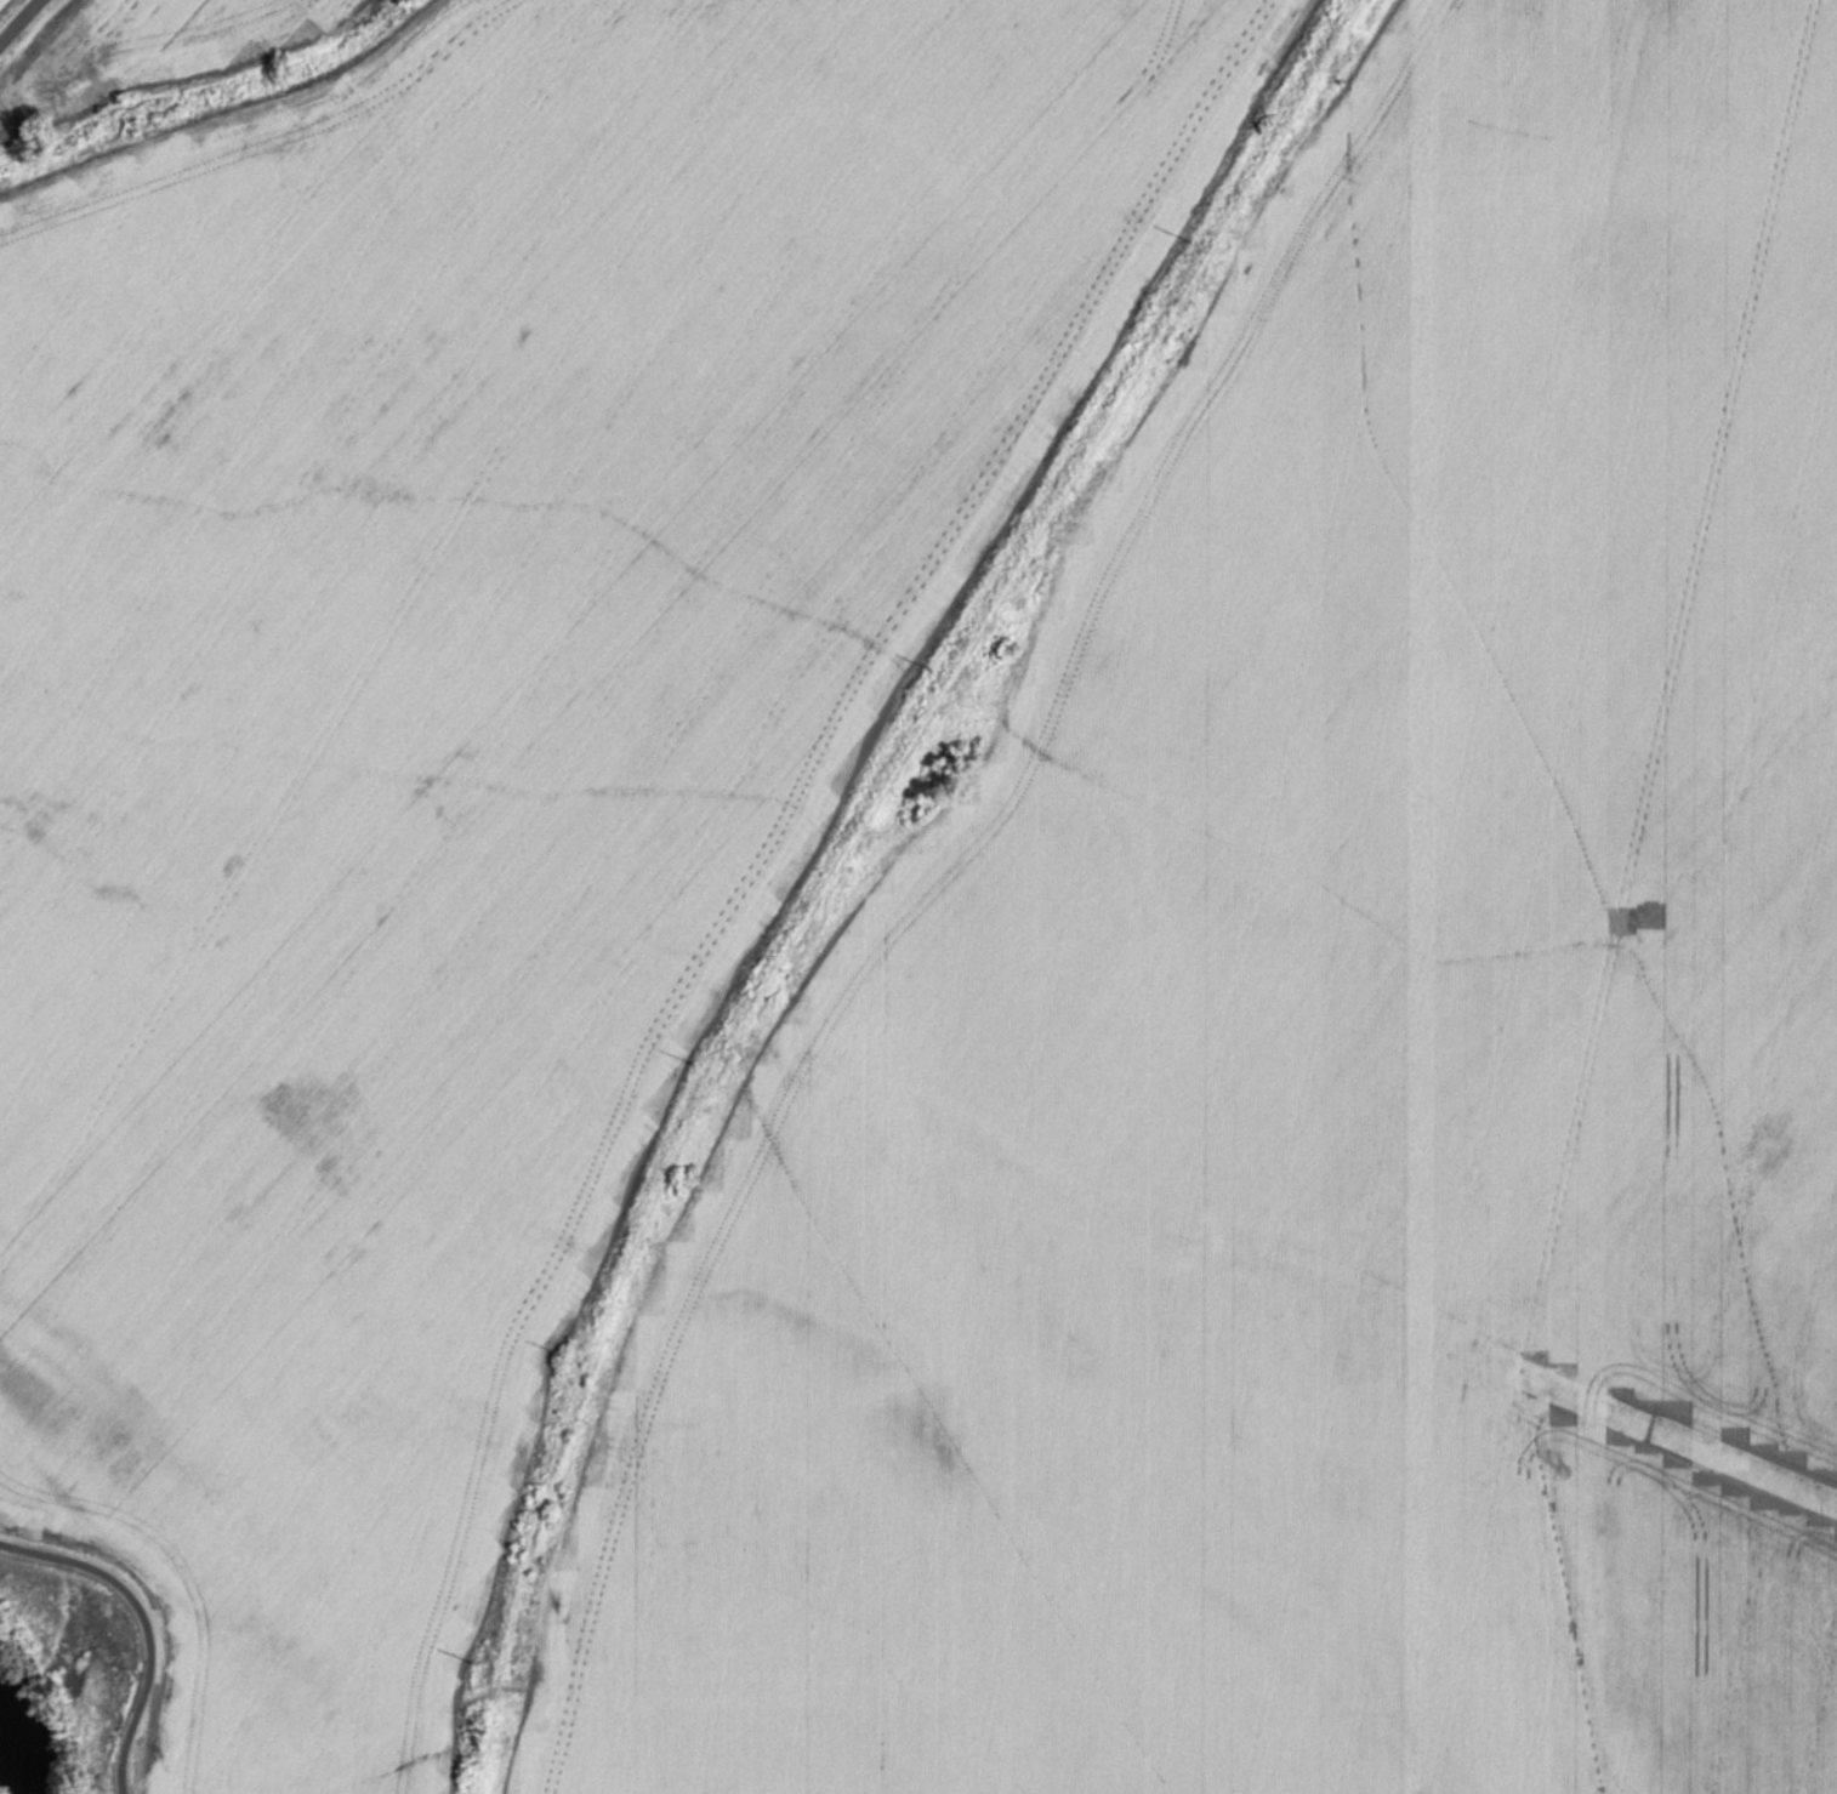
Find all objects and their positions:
road: (18, 21)
road: (235, 120)
power tower: (1192, 239)
road: (1249, 268)
power tower: (933, 667)
road: (906, 843)
railway: (842, 861)
power tower: (694, 1059)
power tower: (561, 1352)
power tower: (473, 1662)

